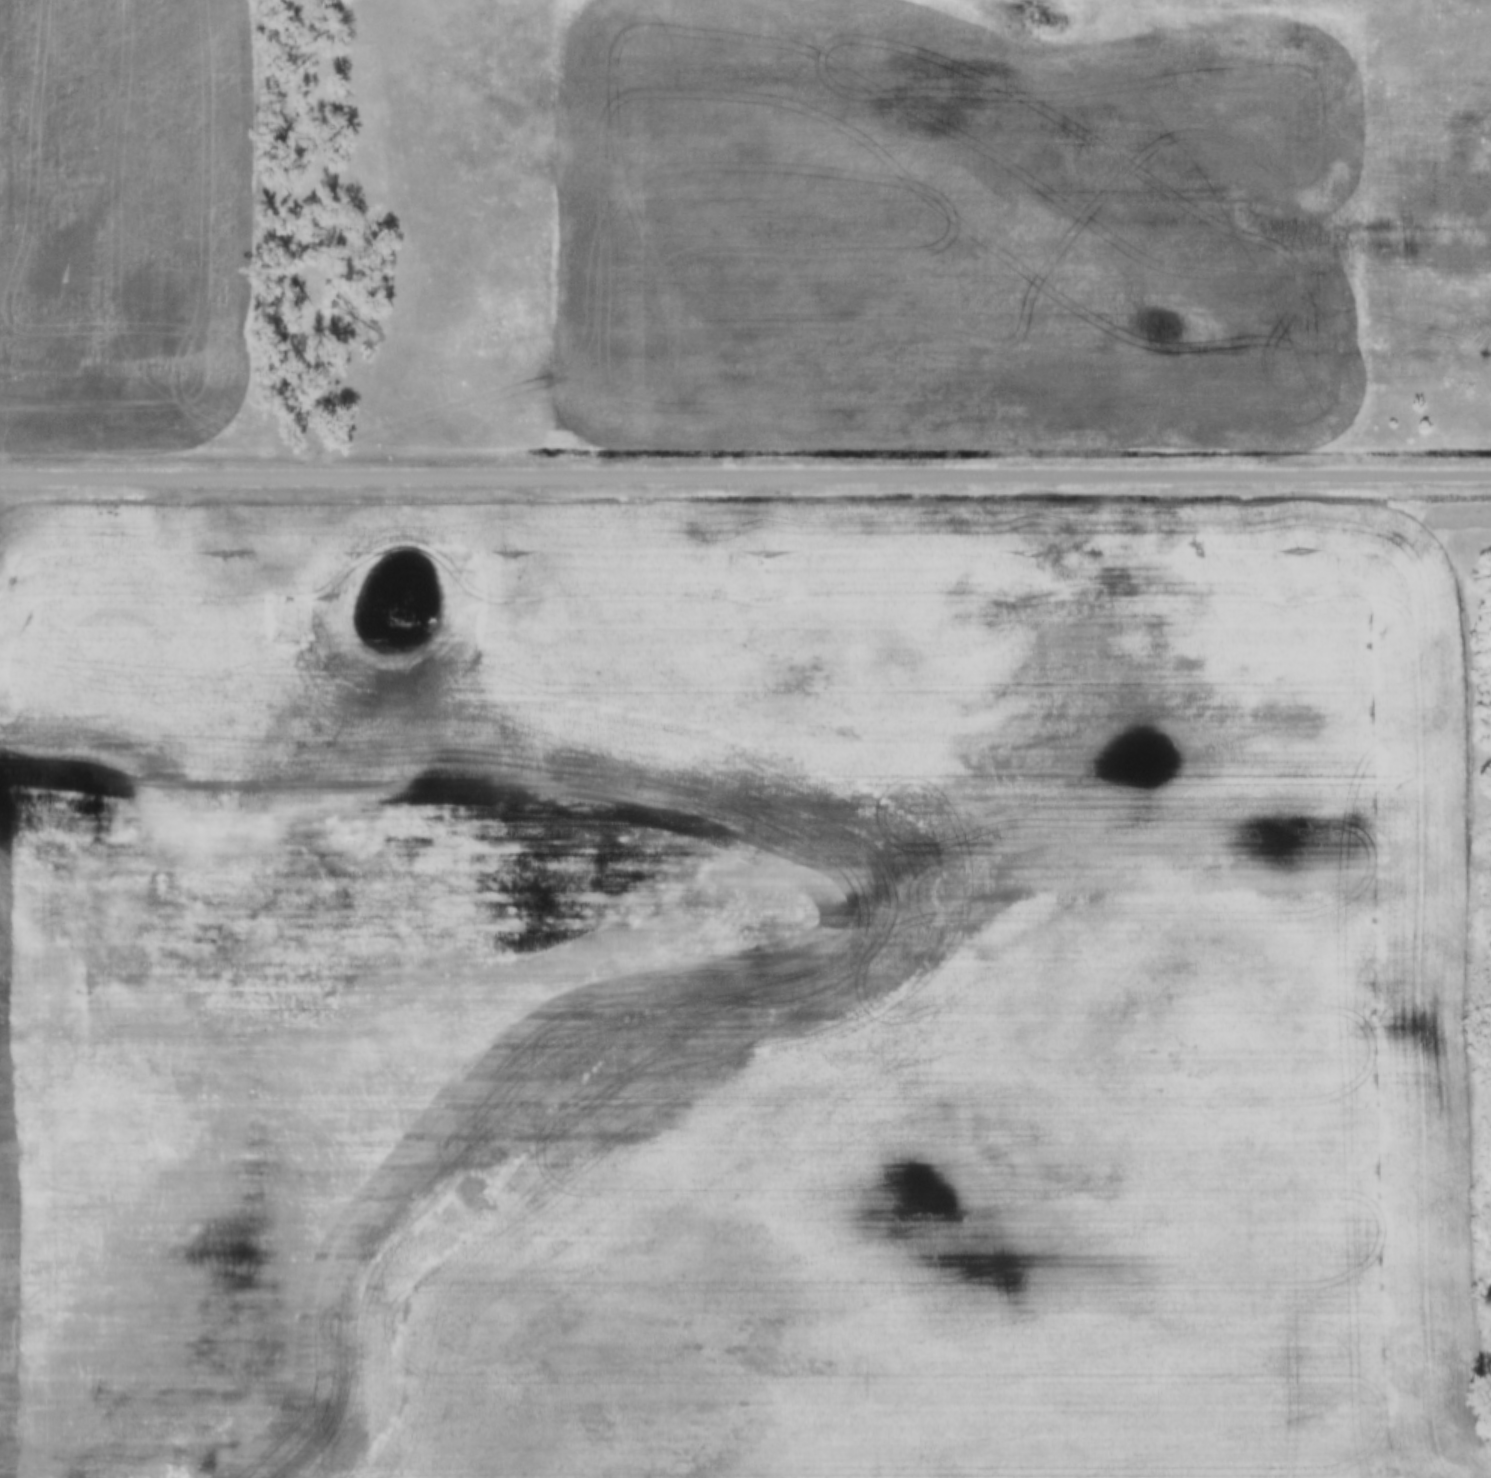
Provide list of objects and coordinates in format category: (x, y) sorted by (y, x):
road: (297, 237)
road: (745, 473)

